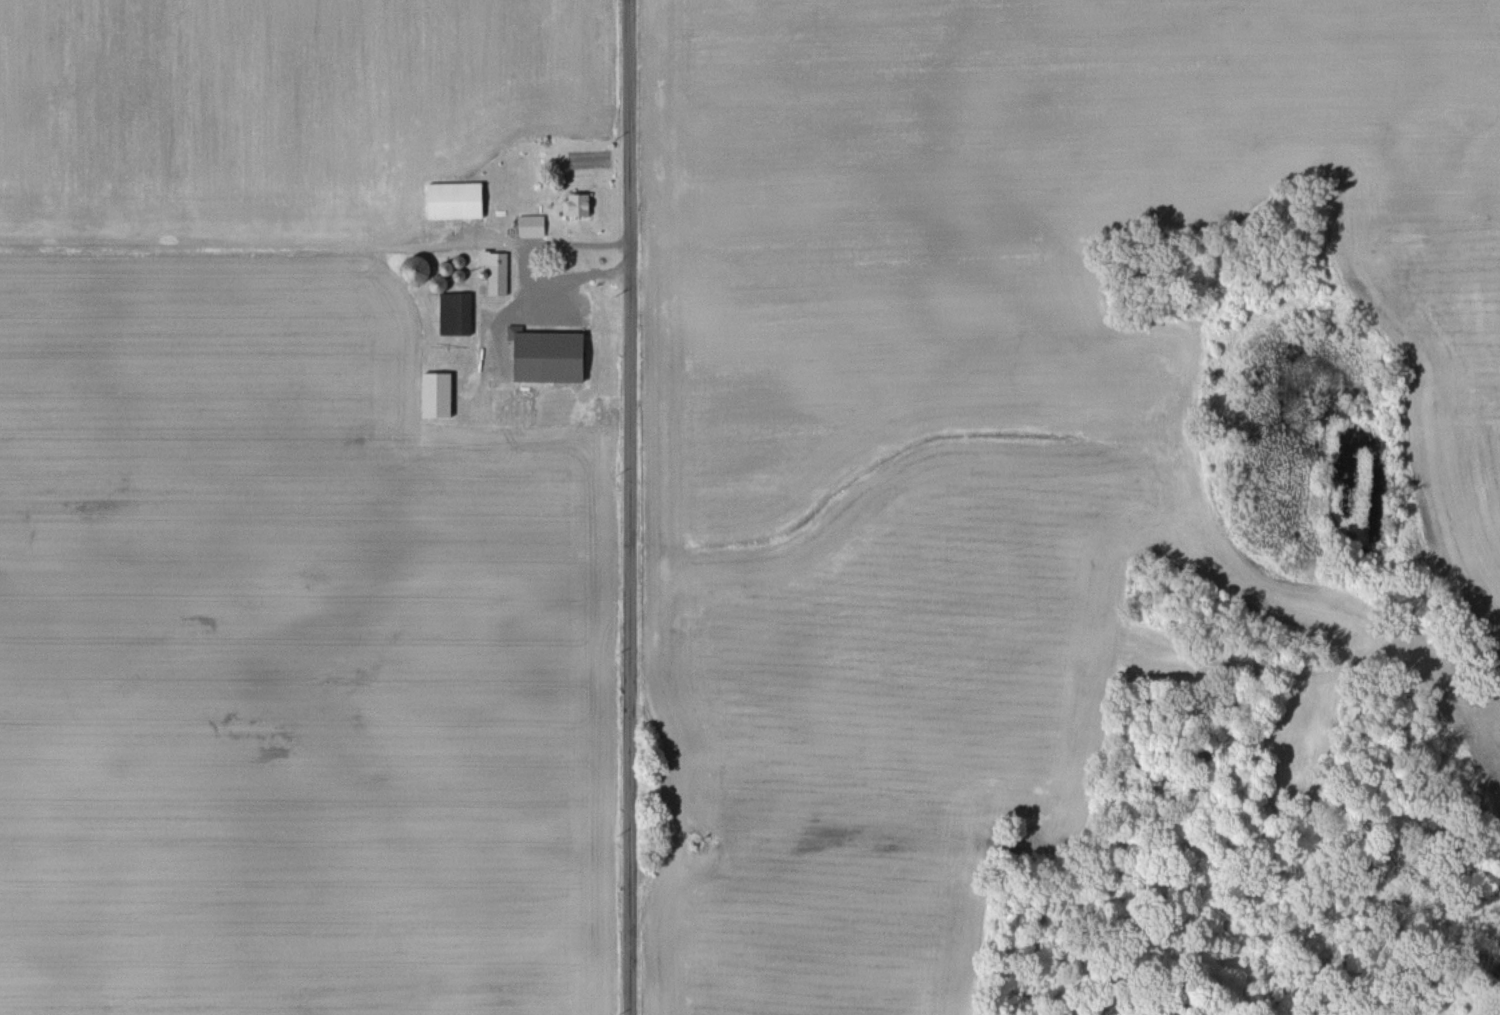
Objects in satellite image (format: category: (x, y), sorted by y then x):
building: (457, 200)
building: (579, 205)
building: (532, 225)
road: (523, 256)
building: (421, 270)
building: (498, 271)
building: (457, 314)
building: (551, 351)
building: (438, 395)
crop: (639, 470)
road: (631, 507)
crop: (1472, 703)

